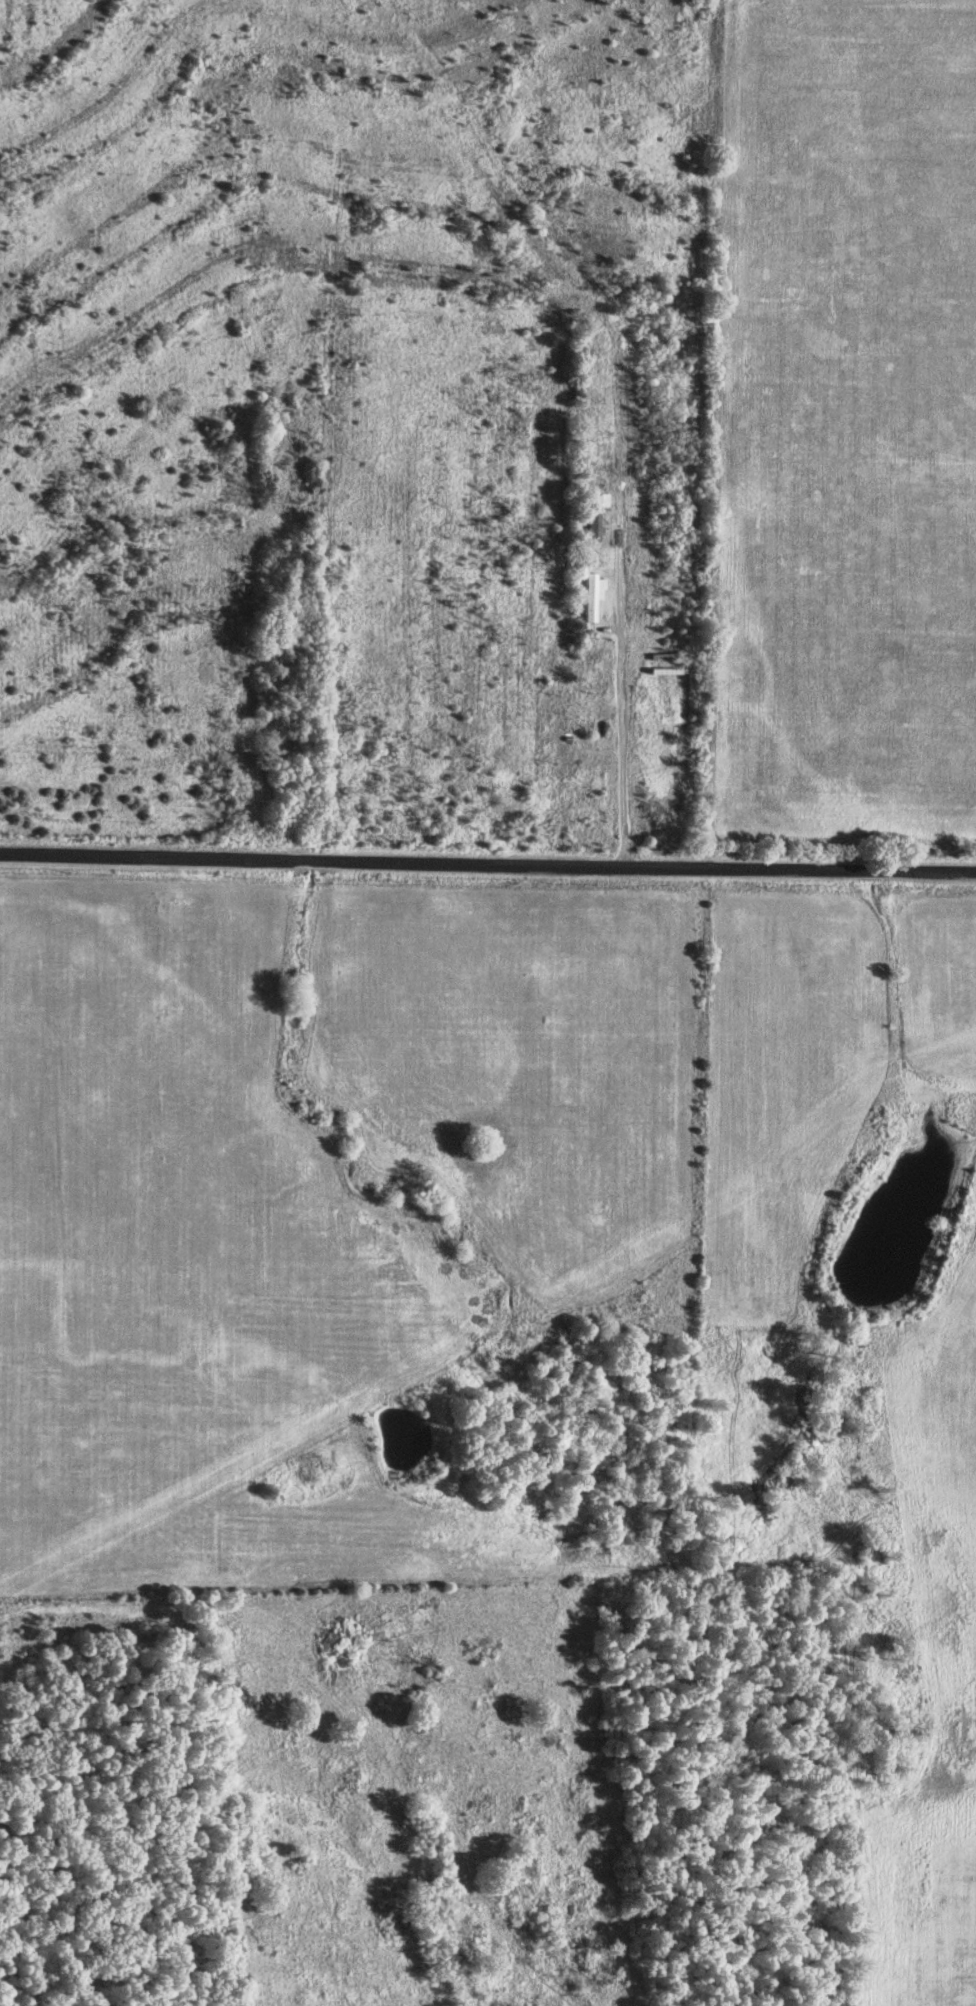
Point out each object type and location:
building: (591, 522)
building: (592, 596)
building: (585, 673)
road: (613, 679)
road: (488, 867)

